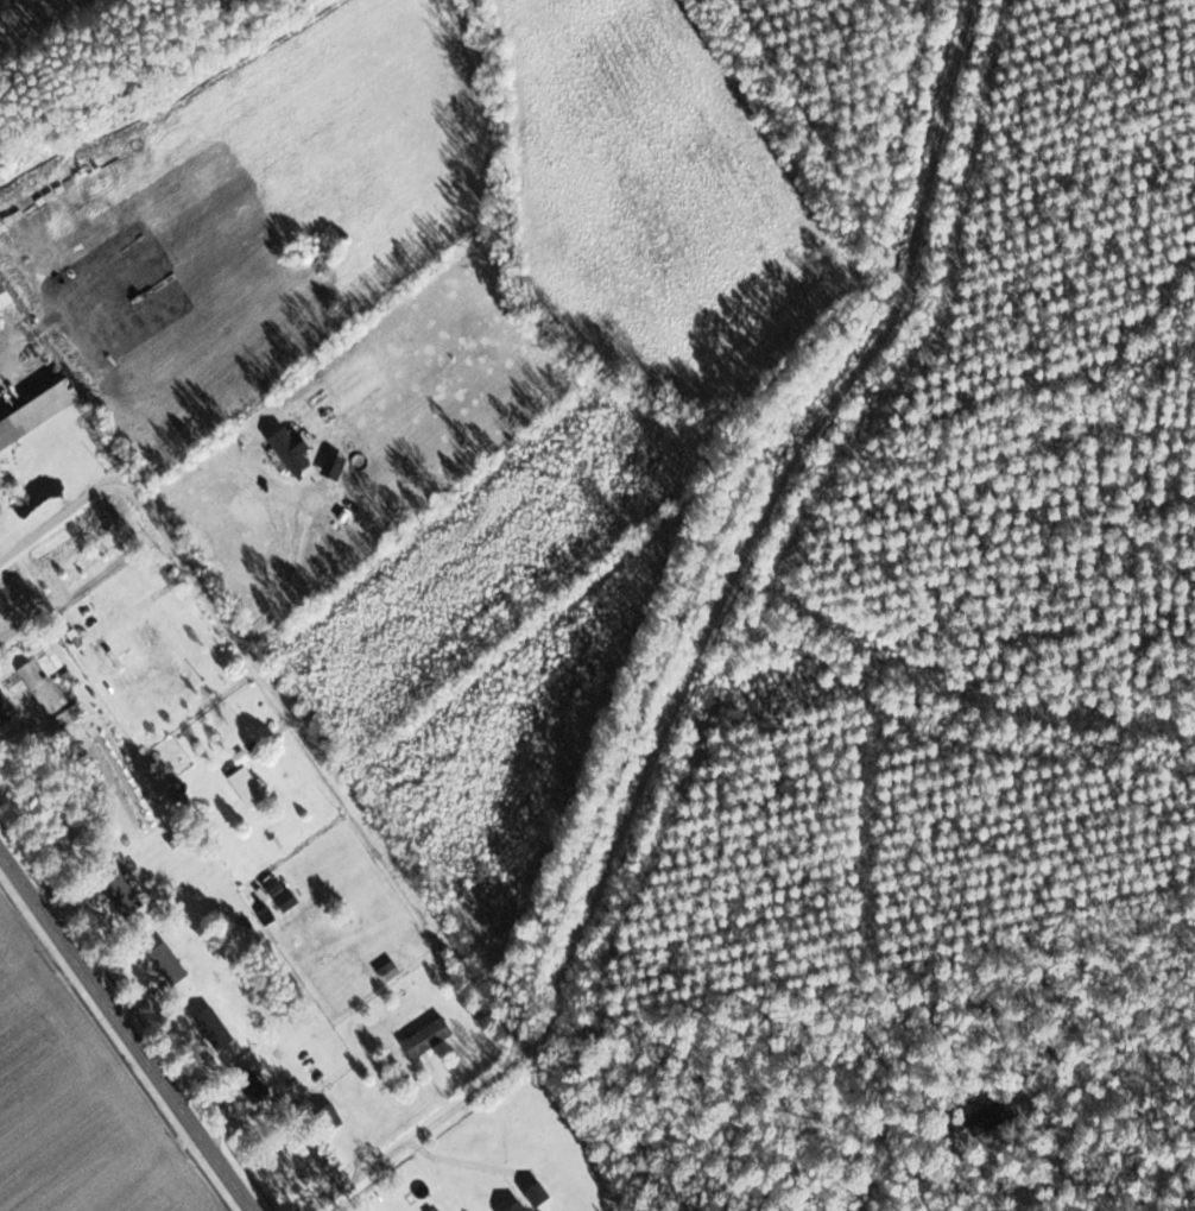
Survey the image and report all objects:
building: (4, 297)
building: (10, 433)
road: (268, 505)
road: (59, 512)
road: (696, 652)
building: (44, 681)
building: (5, 709)
building: (68, 717)
road: (328, 762)
building: (120, 894)
building: (166, 964)
road: (126, 1026)
building: (213, 1028)
building: (425, 1037)
building: (252, 1086)
building: (328, 1116)
building: (991, 1116)
building: (301, 1161)
road: (466, 1163)
building: (516, 1206)

